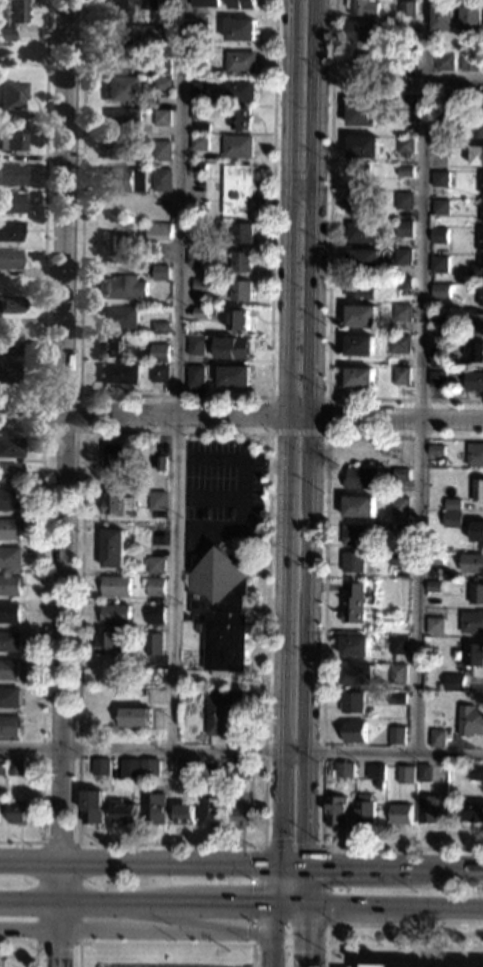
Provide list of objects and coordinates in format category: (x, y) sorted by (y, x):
building: (203, 3)
building: (241, 4)
building: (128, 5)
building: (362, 7)
building: (408, 9)
building: (442, 17)
building: (471, 17)
building: (13, 18)
building: (239, 29)
building: (197, 31)
building: (363, 31)
building: (384, 46)
building: (118, 47)
building: (196, 58)
building: (239, 61)
building: (443, 62)
building: (468, 62)
building: (361, 64)
building: (159, 66)
building: (405, 67)
road: (455, 80)
building: (161, 84)
building: (122, 88)
building: (196, 88)
building: (238, 90)
building: (164, 93)
building: (13, 95)
building: (459, 97)
building: (482, 101)
building: (196, 112)
building: (361, 113)
building: (159, 117)
building: (240, 118)
building: (122, 120)
building: (440, 121)
building: (200, 127)
building: (477, 127)
building: (14, 138)
building: (197, 142)
building: (405, 145)
building: (236, 146)
building: (362, 146)
building: (120, 149)
building: (160, 150)
building: (476, 156)
building: (196, 168)
building: (404, 171)
building: (12, 175)
building: (358, 175)
building: (439, 178)
building: (125, 180)
building: (160, 180)
building: (481, 184)
building: (237, 190)
building: (452, 194)
building: (403, 200)
building: (11, 202)
building: (358, 203)
building: (440, 207)
building: (202, 209)
building: (481, 212)
road: (47, 218)
building: (403, 228)
building: (10, 231)
building: (360, 232)
building: (241, 233)
building: (438, 235)
building: (196, 237)
building: (133, 238)
building: (480, 240)
building: (402, 256)
building: (194, 258)
building: (10, 259)
building: (362, 259)
building: (240, 262)
building: (438, 264)
building: (477, 269)
building: (158, 272)
road: (328, 277)
building: (199, 285)
building: (123, 287)
building: (358, 288)
building: (439, 290)
building: (240, 291)
building: (480, 295)
building: (9, 305)
building: (201, 312)
building: (401, 312)
building: (361, 315)
building: (118, 316)
building: (441, 317)
building: (237, 320)
building: (478, 324)
building: (157, 327)
building: (10, 344)
building: (397, 344)
building: (194, 345)
building: (358, 345)
building: (111, 347)
building: (231, 348)
building: (473, 351)
building: (157, 352)
building: (438, 357)
building: (8, 372)
building: (118, 373)
building: (157, 373)
road: (177, 375)
building: (193, 376)
building: (233, 376)
building: (400, 376)
road: (424, 376)
building: (358, 377)
building: (437, 378)
building: (474, 381)
road: (81, 393)
road: (178, 395)
road: (297, 398)
road: (241, 417)
road: (282, 432)
road: (314, 432)
road: (266, 434)
road: (297, 435)
building: (10, 447)
building: (435, 450)
building: (474, 454)
building: (112, 458)
building: (158, 462)
road: (260, 463)
building: (10, 473)
building: (468, 473)
building: (400, 474)
building: (360, 478)
road: (60, 483)
parking lot: (219, 487)
building: (477, 489)
road: (240, 491)
road: (207, 496)
building: (10, 500)
building: (155, 500)
building: (115, 503)
building: (452, 504)
building: (358, 506)
building: (399, 506)
building: (452, 519)
building: (10, 528)
building: (477, 531)
building: (399, 532)
building: (356, 534)
building: (392, 547)
building: (112, 548)
building: (10, 557)
building: (398, 558)
building: (434, 559)
building: (353, 562)
building: (471, 562)
building: (154, 564)
building: (10, 584)
building: (435, 585)
building: (115, 586)
building: (154, 586)
building: (476, 593)
building: (354, 604)
building: (219, 606)
building: (9, 613)
building: (114, 614)
building: (154, 614)
building: (472, 622)
building: (435, 624)
road: (41, 633)
building: (9, 641)
building: (110, 643)
building: (152, 643)
road: (322, 644)
building: (355, 645)
building: (398, 645)
building: (474, 654)
building: (8, 669)
building: (357, 674)
building: (397, 674)
building: (454, 682)
building: (147, 691)
building: (217, 692)
building: (10, 697)
building: (395, 697)
building: (351, 702)
building: (221, 711)
building: (134, 717)
building: (470, 720)
building: (9, 725)
building: (355, 731)
building: (397, 735)
building: (437, 738)
road: (241, 750)
building: (2, 766)
building: (100, 766)
building: (14, 767)
building: (149, 767)
building: (130, 768)
building: (189, 768)
building: (239, 768)
building: (338, 769)
building: (380, 772)
building: (476, 772)
building: (424, 773)
building: (406, 774)
building: (378, 785)
building: (91, 806)
building: (153, 808)
building: (212, 809)
building: (429, 809)
building: (337, 810)
building: (365, 810)
building: (471, 810)
building: (18, 812)
building: (124, 813)
building: (401, 813)
building: (184, 814)
building: (240, 816)
road: (76, 847)
road: (321, 857)
road: (241, 863)
traffic signals: (275, 865)
traffic signals: (309, 866)
road: (273, 884)
road: (308, 885)
road: (241, 903)
traffic signals: (272, 903)
traffic signals: (308, 905)
road: (172, 916)
road: (135, 930)
road: (252, 934)
road: (271, 934)
road: (309, 935)
road: (164, 944)
road: (330, 946)
road: (406, 948)
road: (35, 949)
road: (22, 956)
parking lot: (163, 964)
building: (382, 965)

